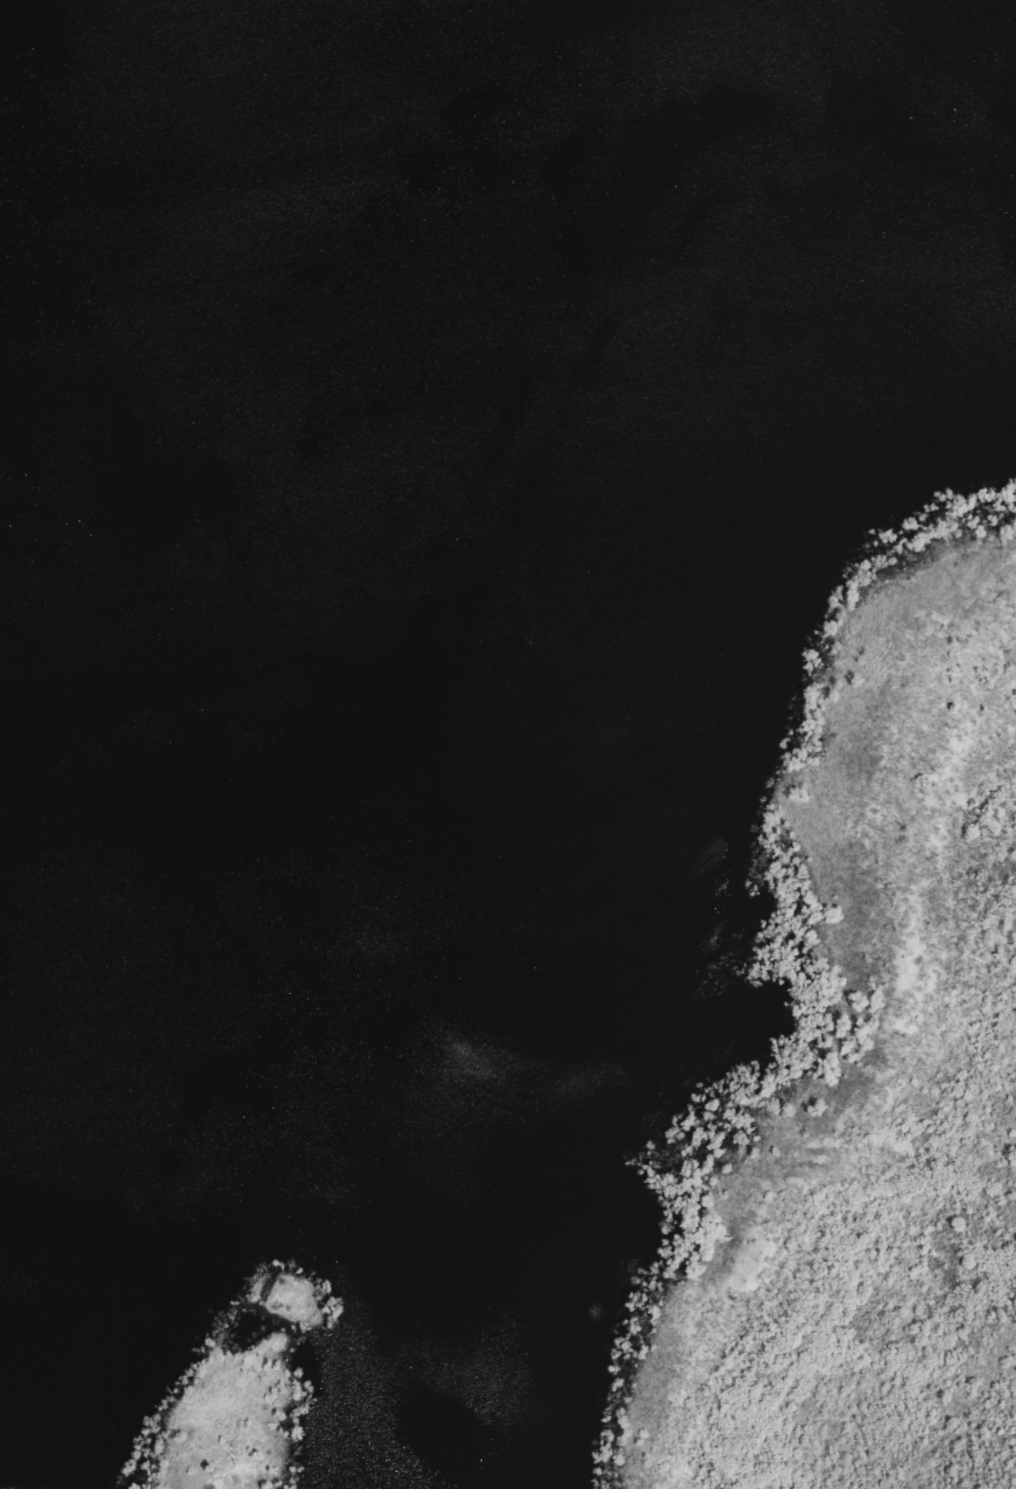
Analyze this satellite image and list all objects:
river: (503, 297)

